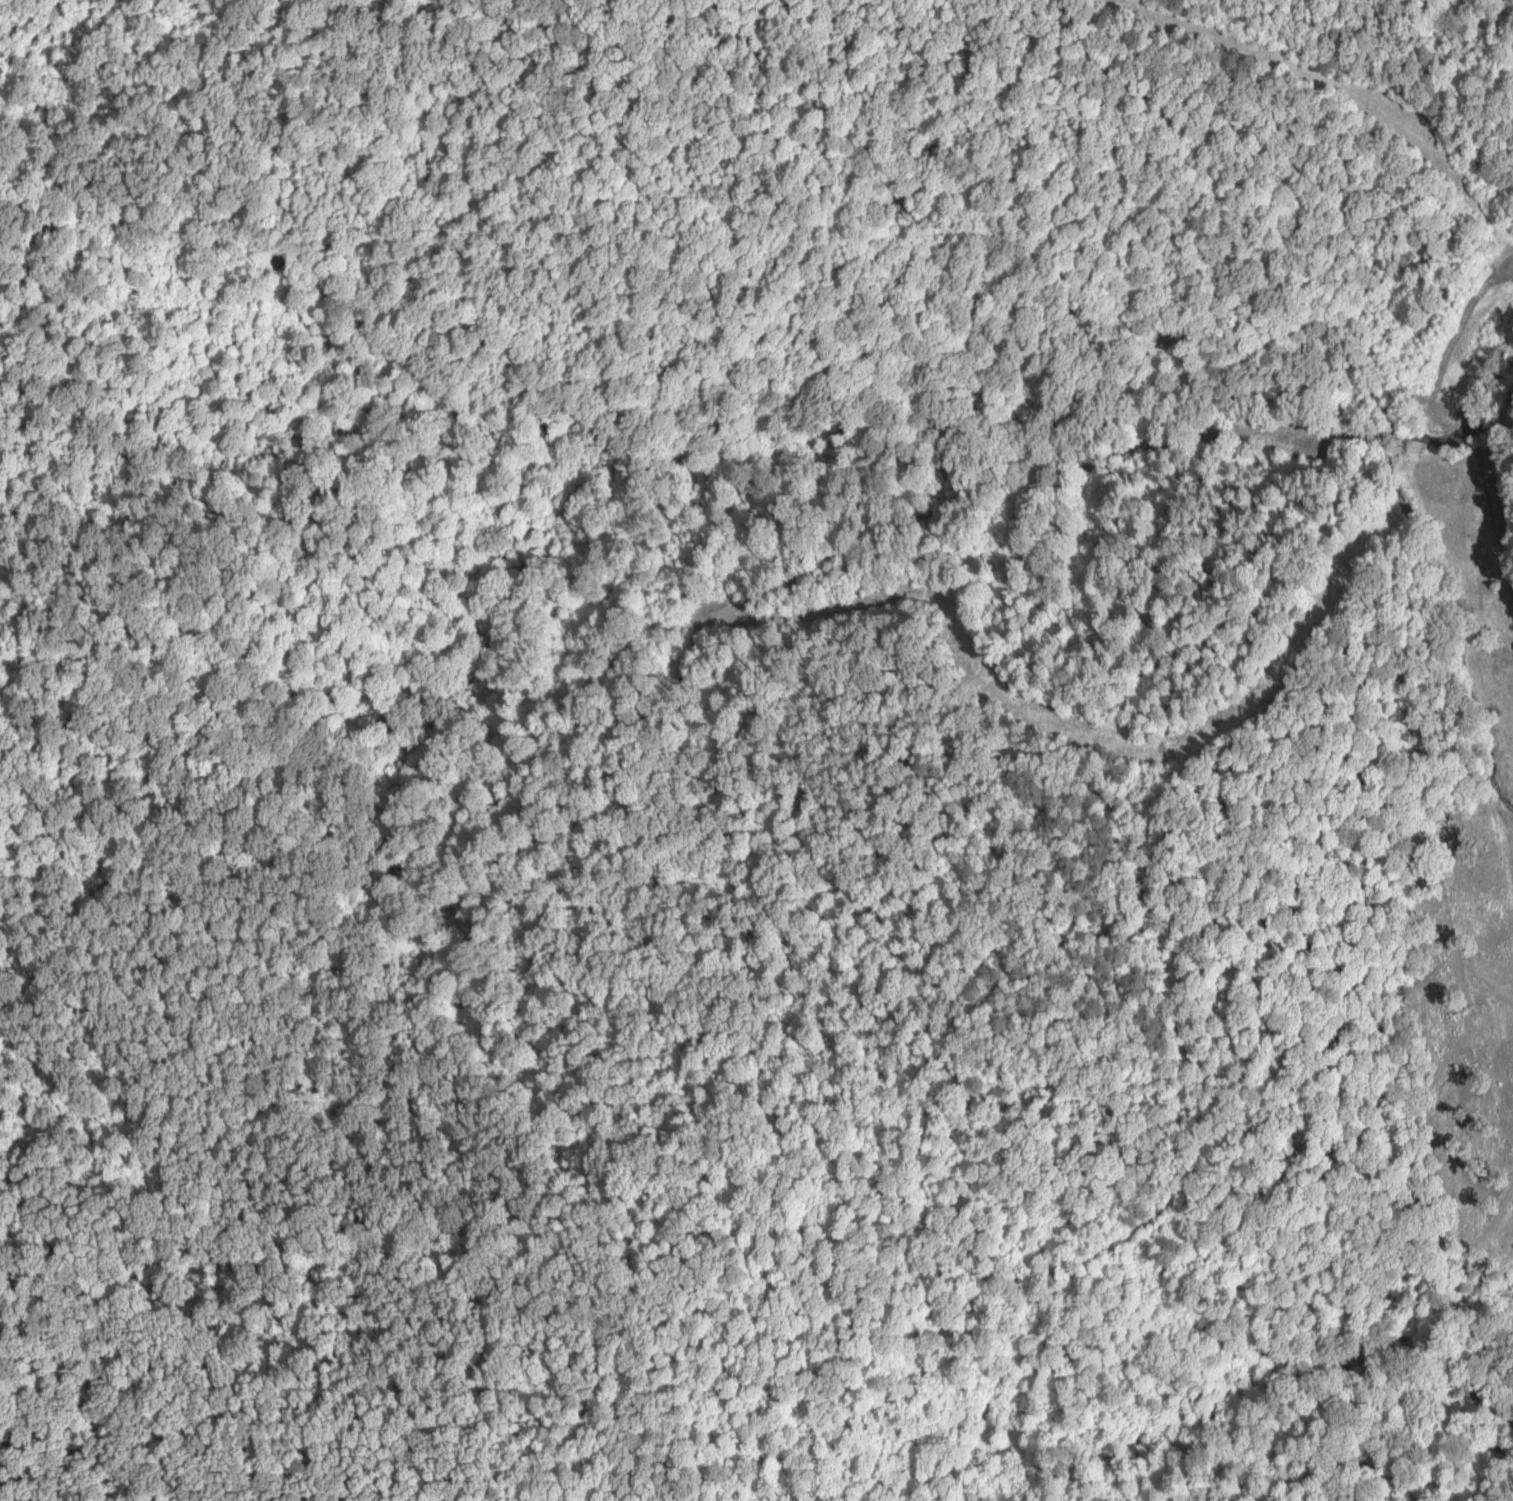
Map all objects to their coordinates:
road: (1495, 515)

